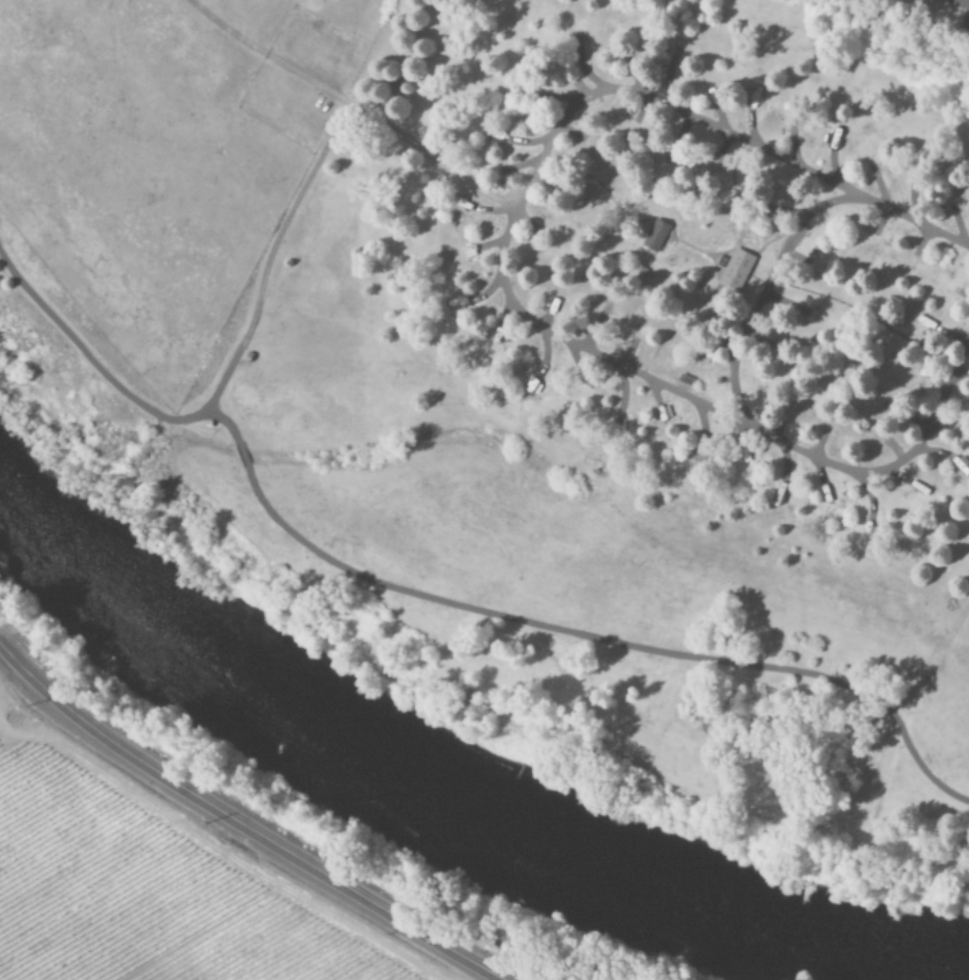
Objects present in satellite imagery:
road: (507, 235)
building: (655, 237)
building: (736, 272)
road: (764, 297)
road: (439, 600)
road: (22, 675)
road: (513, 725)
road: (909, 725)
river: (448, 796)
road: (263, 841)

